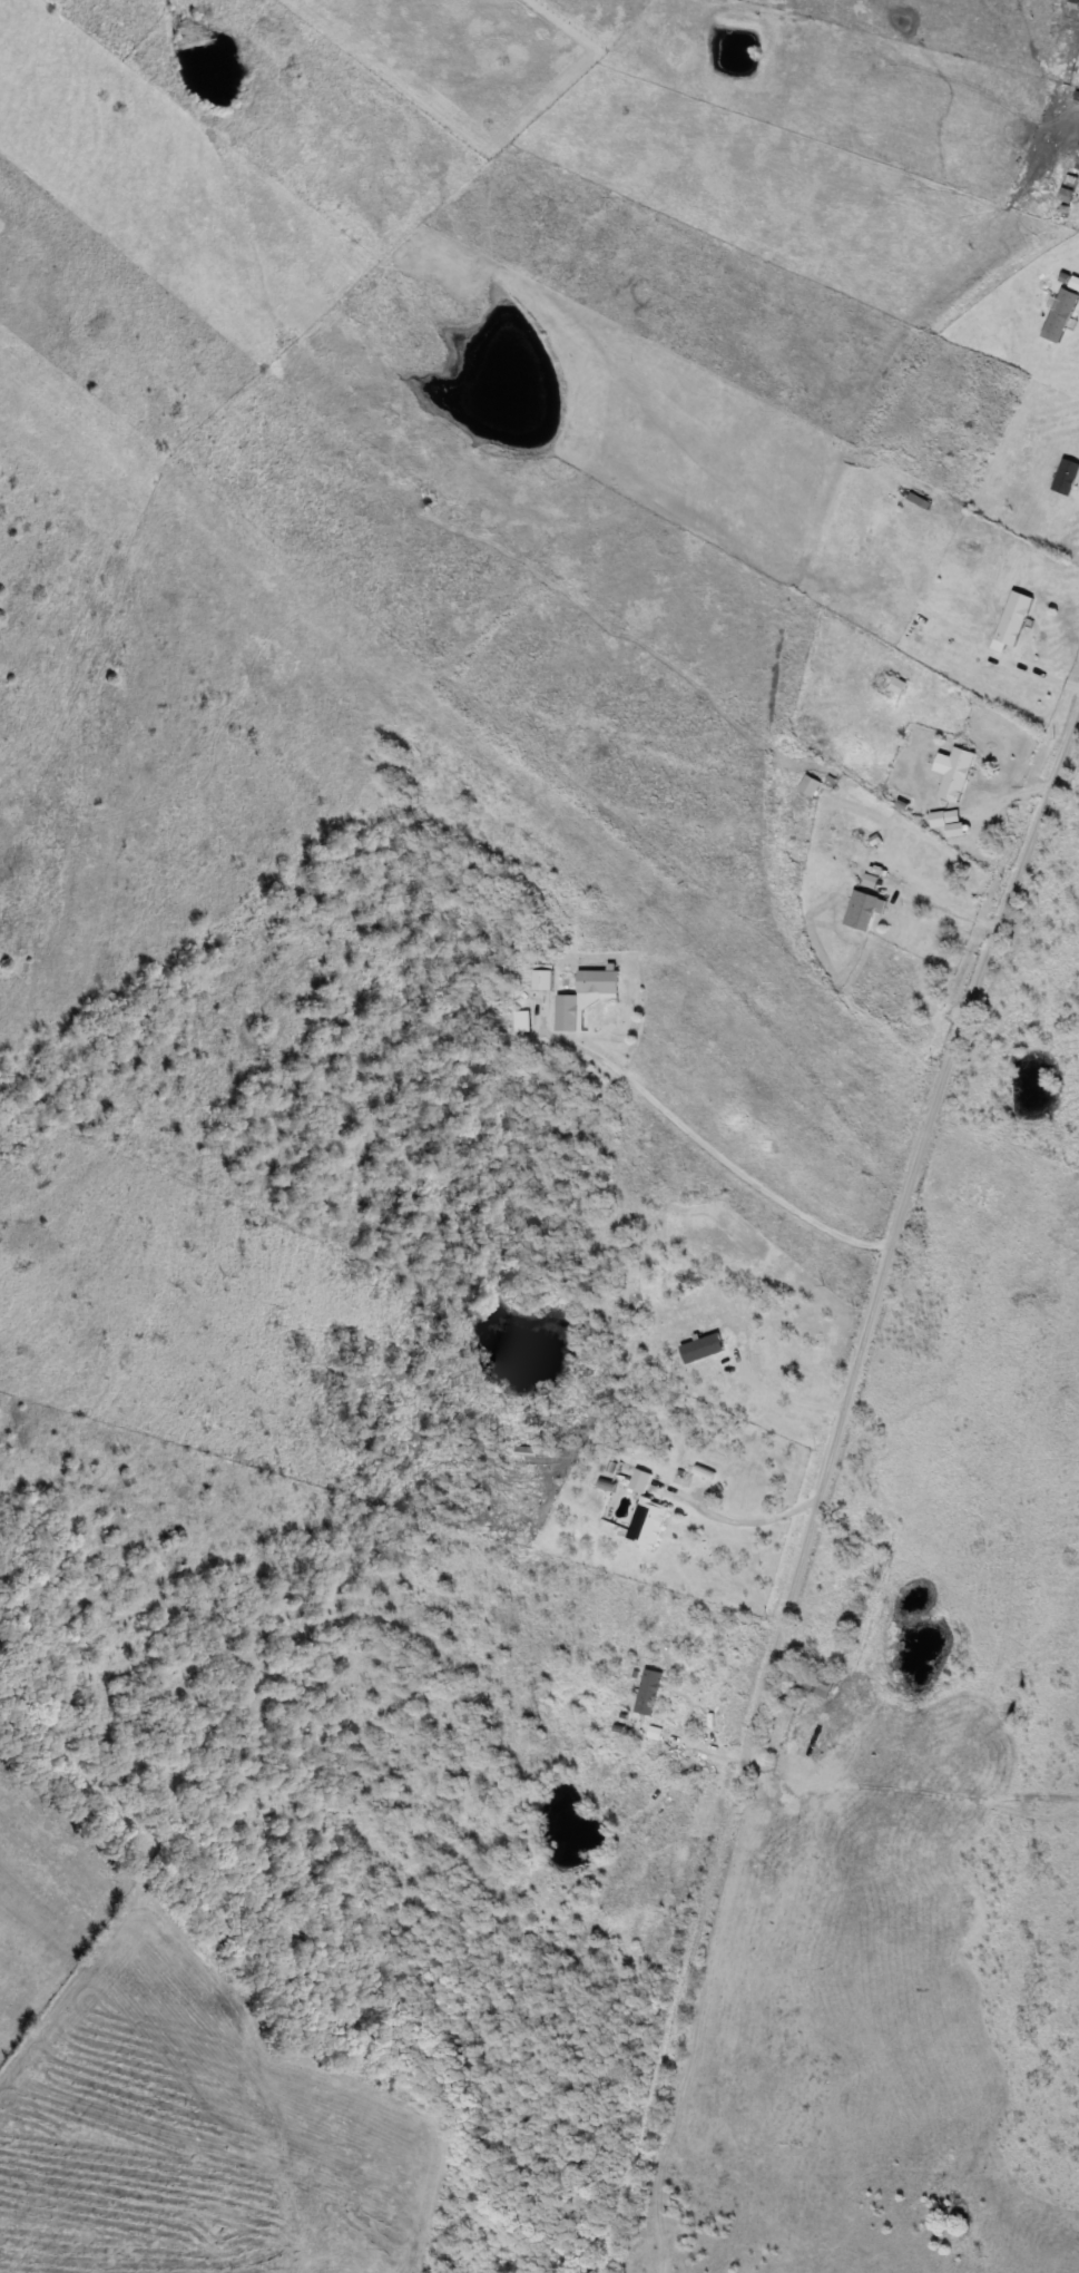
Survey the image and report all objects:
building: (1062, 313)
building: (1013, 618)
building: (954, 773)
building: (810, 786)
road: (948, 907)
building: (865, 911)
building: (545, 979)
building: (568, 1013)
building: (523, 1020)
road: (712, 1150)
building: (703, 1349)
road: (778, 1395)
building: (524, 1450)
road: (830, 1464)
building: (639, 1480)
road: (737, 1521)
building: (648, 1522)
building: (811, 1684)
building: (649, 1692)
road: (610, 2243)

